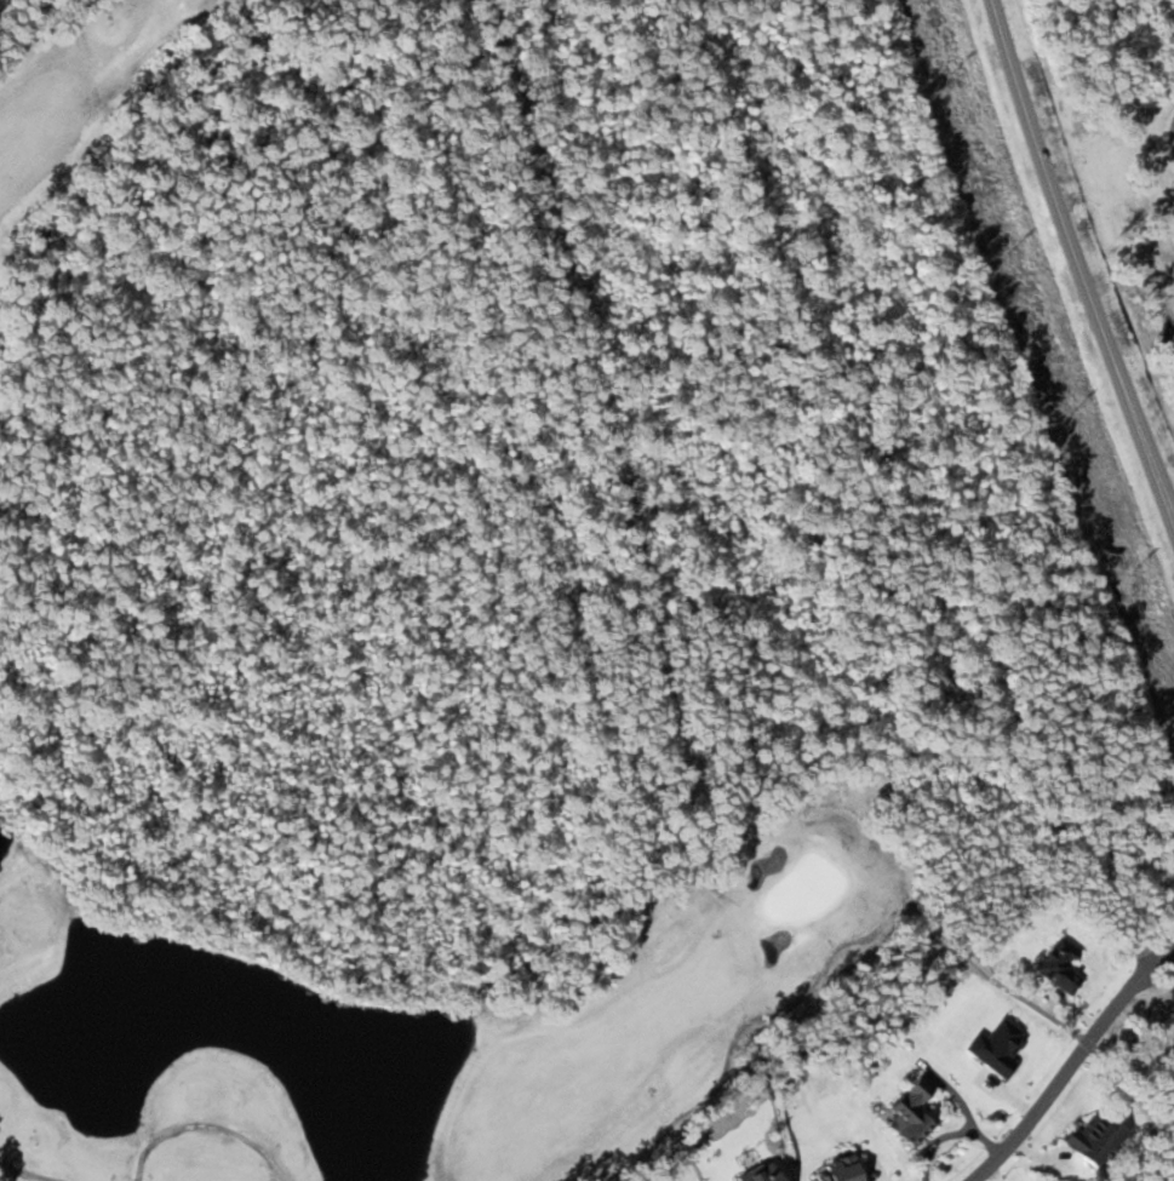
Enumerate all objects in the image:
road: (45, 18)
road: (1172, 138)
road: (1078, 265)
road: (872, 931)
building: (1061, 965)
road: (1173, 986)
road: (1168, 1064)
road: (1072, 1067)
building: (910, 1113)
road: (205, 1124)
building: (1095, 1136)
building: (843, 1171)
road: (25, 1173)

